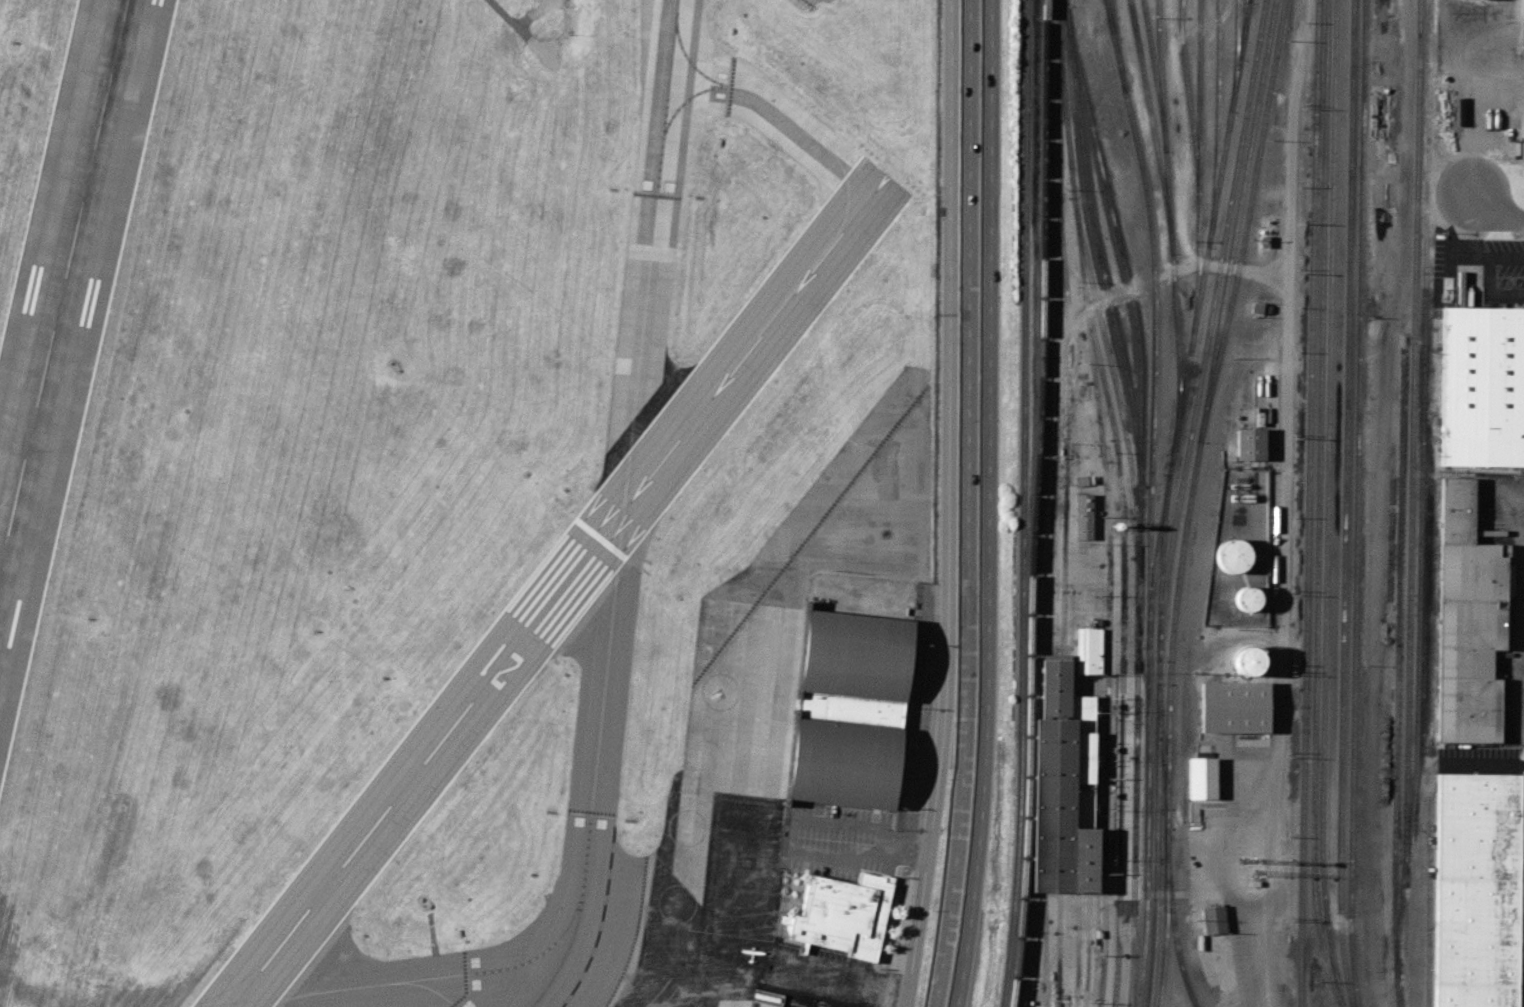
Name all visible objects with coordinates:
railway: (1249, 0)
railway: (1517, 23)
railway: (1242, 29)
railway: (1115, 45)
railway: (1118, 45)
road: (1468, 50)
railway: (1235, 55)
railway: (1155, 75)
railway: (1187, 100)
airport taxiway: (782, 111)
railway: (1215, 123)
railway: (1152, 126)
railway: (1198, 177)
road: (1495, 212)
railway: (1236, 220)
railway: (1246, 221)
railway: (1169, 231)
railway: (1118, 243)
road: (1469, 253)
road: (1176, 267)
railway: (1104, 278)
airport runway: (63, 284)
road: (1486, 297)
railway: (1056, 329)
railway: (1207, 329)
railway: (1112, 376)
building: (1478, 390)
road: (1287, 420)
railway: (1066, 427)
building: (1251, 444)
railway: (1411, 446)
building: (1083, 480)
railway: (1421, 490)
airport: (465, 500)
railway: (1165, 500)
railway: (1022, 503)
railway: (1035, 503)
railway: (1307, 503)
railway: (1356, 503)
road: (951, 504)
road: (969, 504)
road: (987, 504)
railway: (1327, 504)
railway: (1346, 504)
railway: (1317, 505)
airport taxiway: (623, 510)
building: (1082, 516)
railway: (1107, 525)
airport taxiway: (3, 537)
railway: (1148, 547)
building: (1232, 554)
storage tank: (1232, 554)
airport runway: (559, 590)
building: (1245, 598)
storage tank: (1245, 598)
road: (1521, 615)
building: (1464, 622)
railway: (1172, 635)
railway: (1122, 645)
building: (1088, 650)
airport hangar: (856, 656)
building: (856, 656)
building: (1244, 660)
storage tank: (1244, 660)
railway: (1397, 678)
airport apron: (775, 701)
building: (1234, 707)
building: (850, 709)
road: (1522, 742)
railway: (1162, 745)
airport hangar: (845, 763)
building: (845, 763)
railway: (1046, 775)
railway: (1061, 775)
building: (1199, 777)
railway: (1135, 782)
building: (1062, 786)
building: (1477, 892)
road: (1172, 893)
railway: (1428, 899)
building: (840, 914)
railway: (1163, 919)
railway: (1171, 920)
building: (1210, 920)
road: (1265, 924)
railway: (1044, 949)
railway: (1058, 949)
railway: (1075, 949)
railway: (1086, 949)
road: (848, 976)
airport taxiway: (383, 983)

